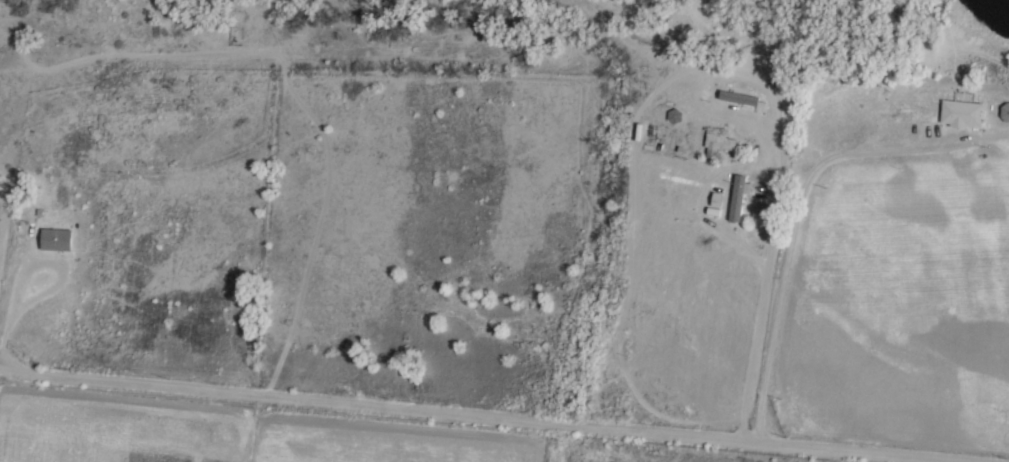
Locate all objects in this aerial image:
building: (747, 117)
building: (718, 142)
building: (743, 186)
building: (56, 240)
road: (469, 417)

